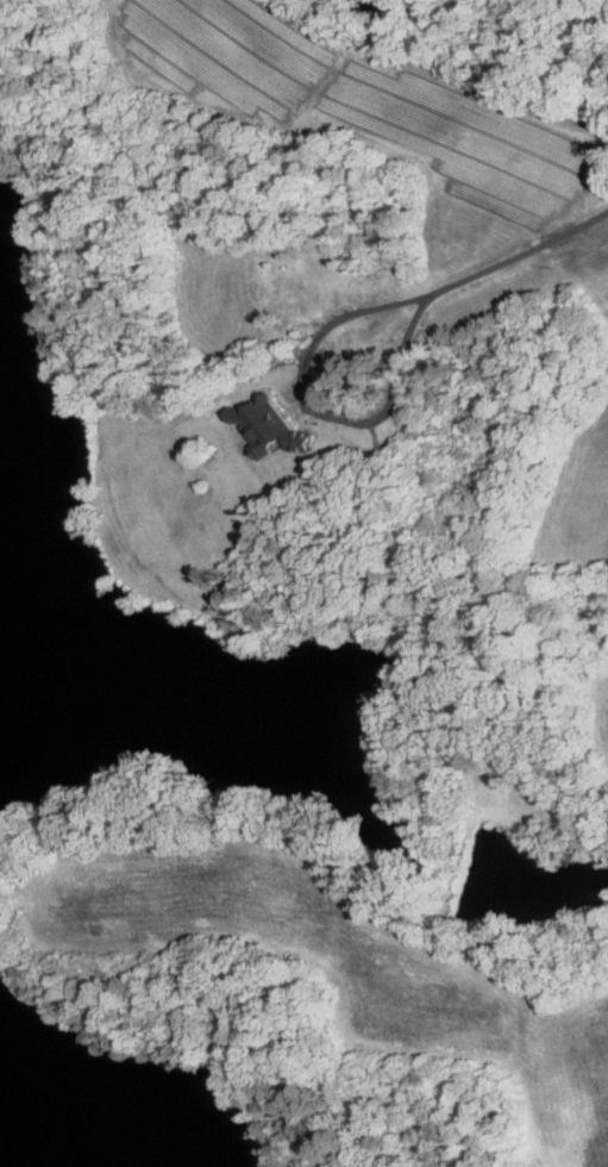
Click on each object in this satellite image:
road: (519, 255)
road: (316, 407)
building: (274, 428)

